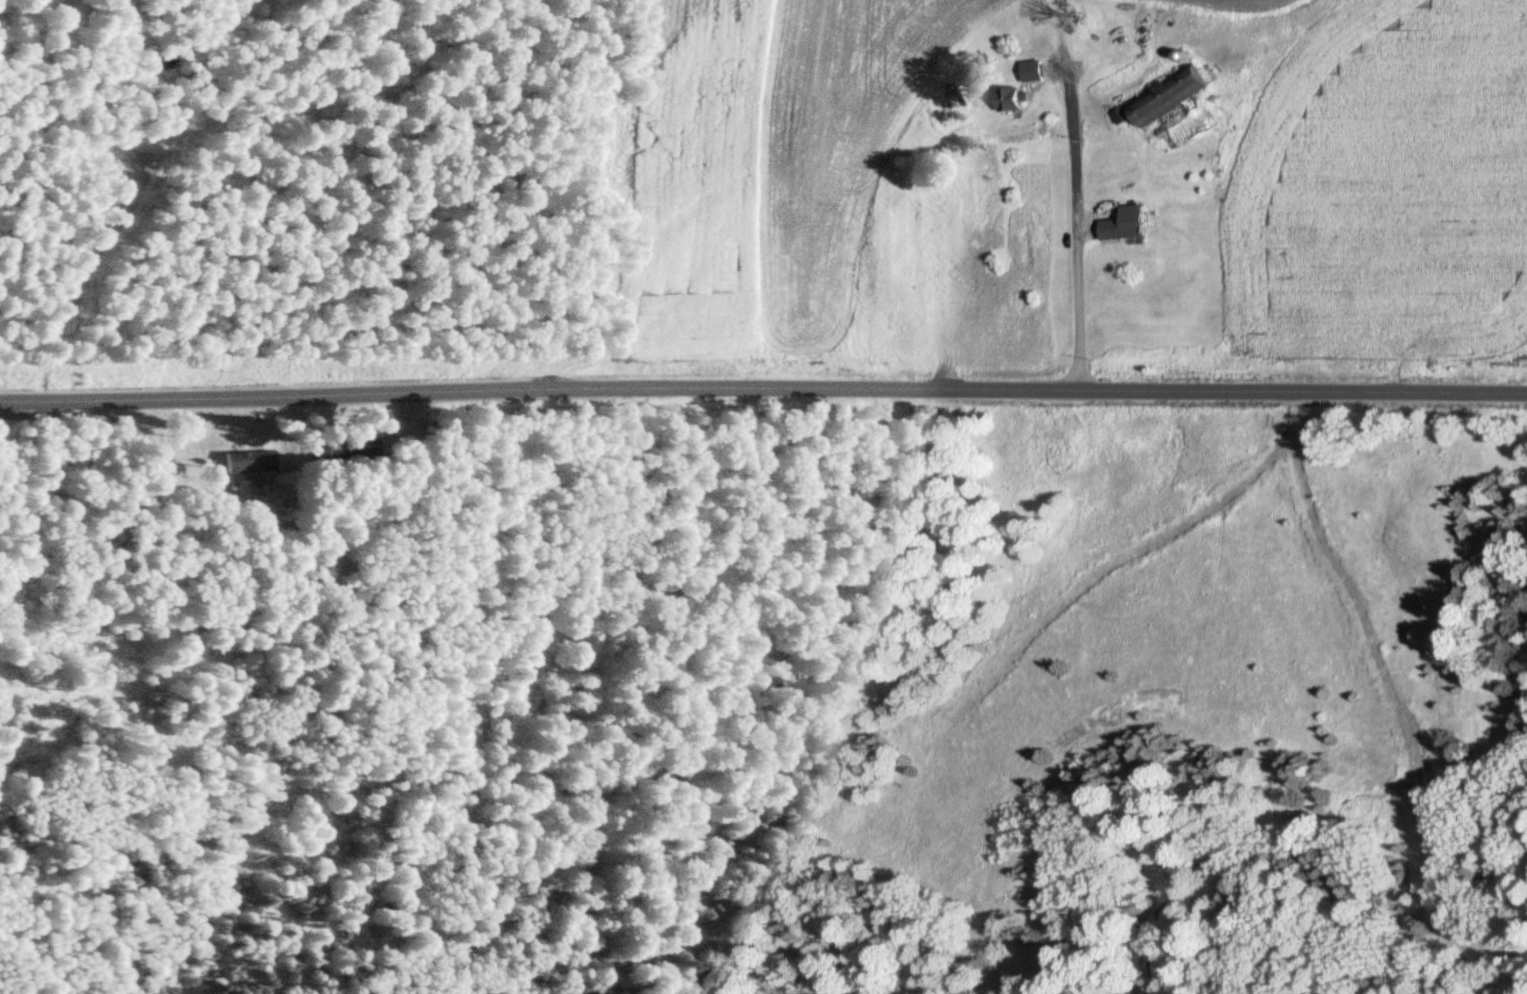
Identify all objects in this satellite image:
building: (1036, 72)
building: (1173, 96)
building: (1015, 101)
road: (739, 183)
road: (1073, 230)
building: (1124, 231)
road: (763, 392)
building: (246, 462)

